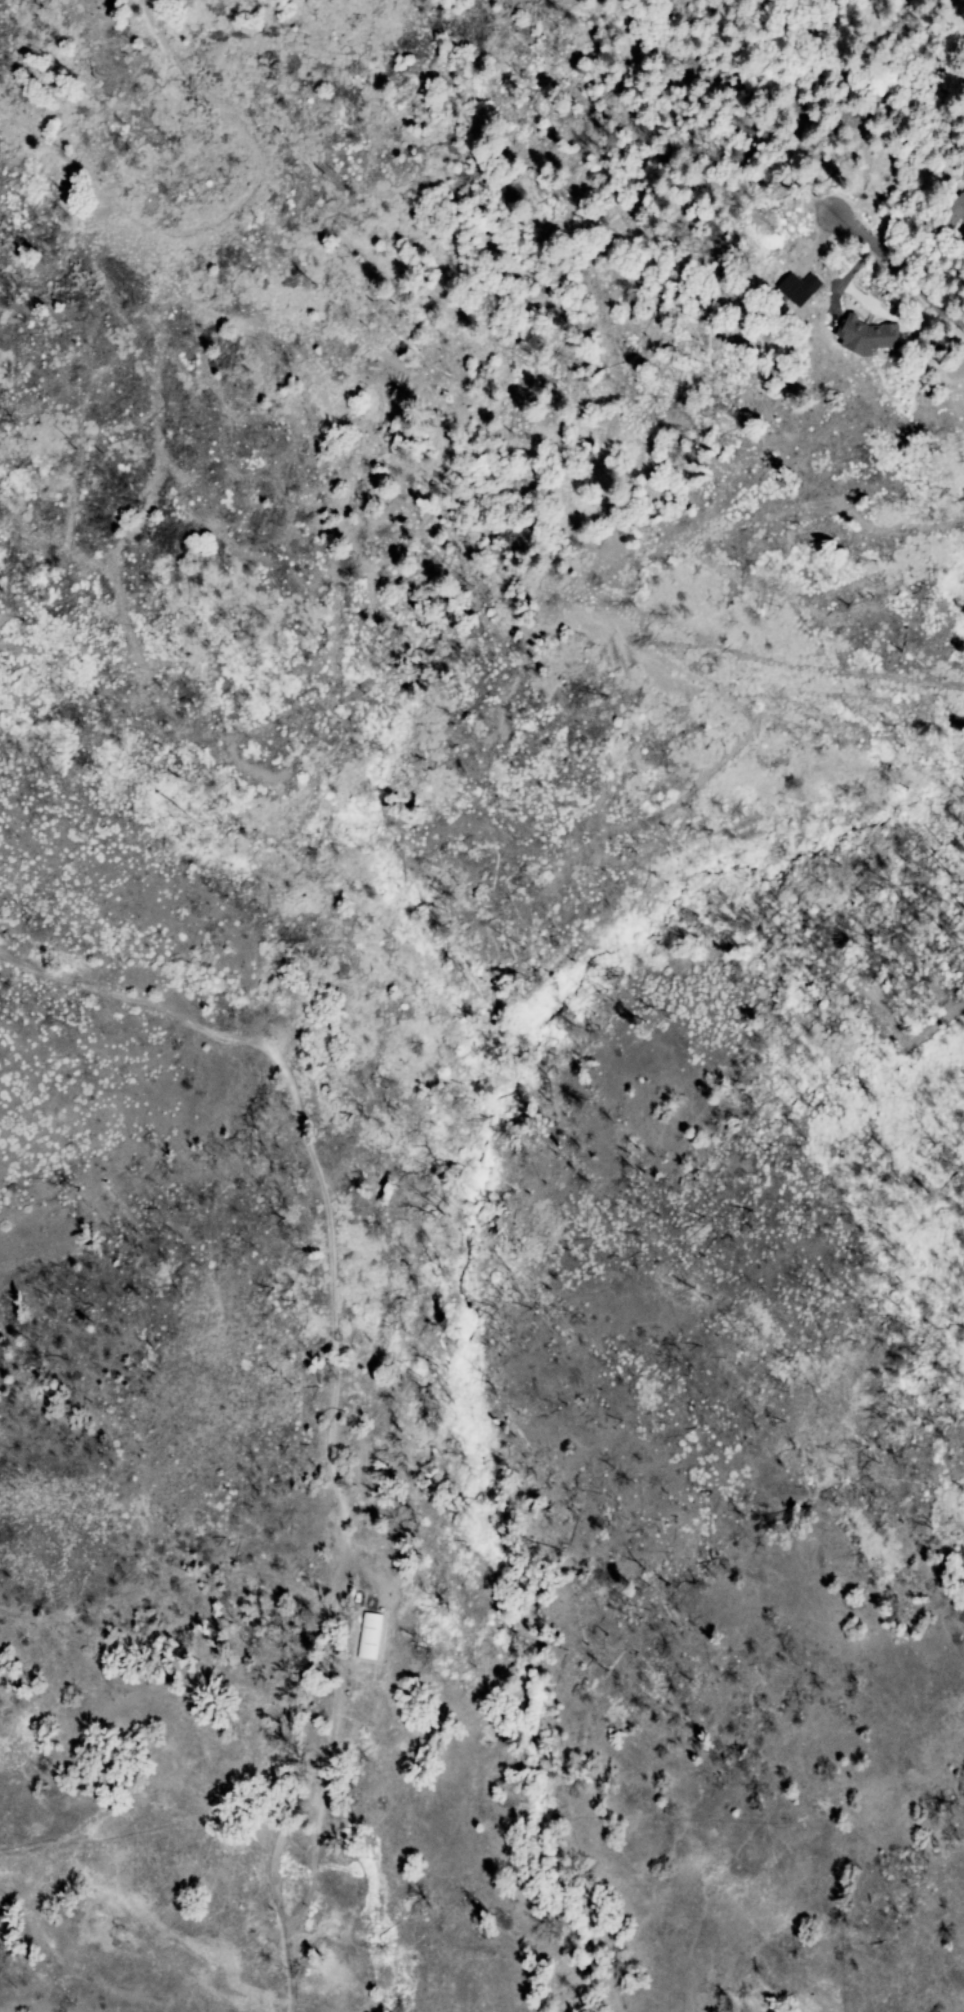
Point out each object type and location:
road: (217, 205)
building: (954, 208)
road: (903, 272)
building: (796, 287)
building: (862, 334)
road: (330, 1402)

